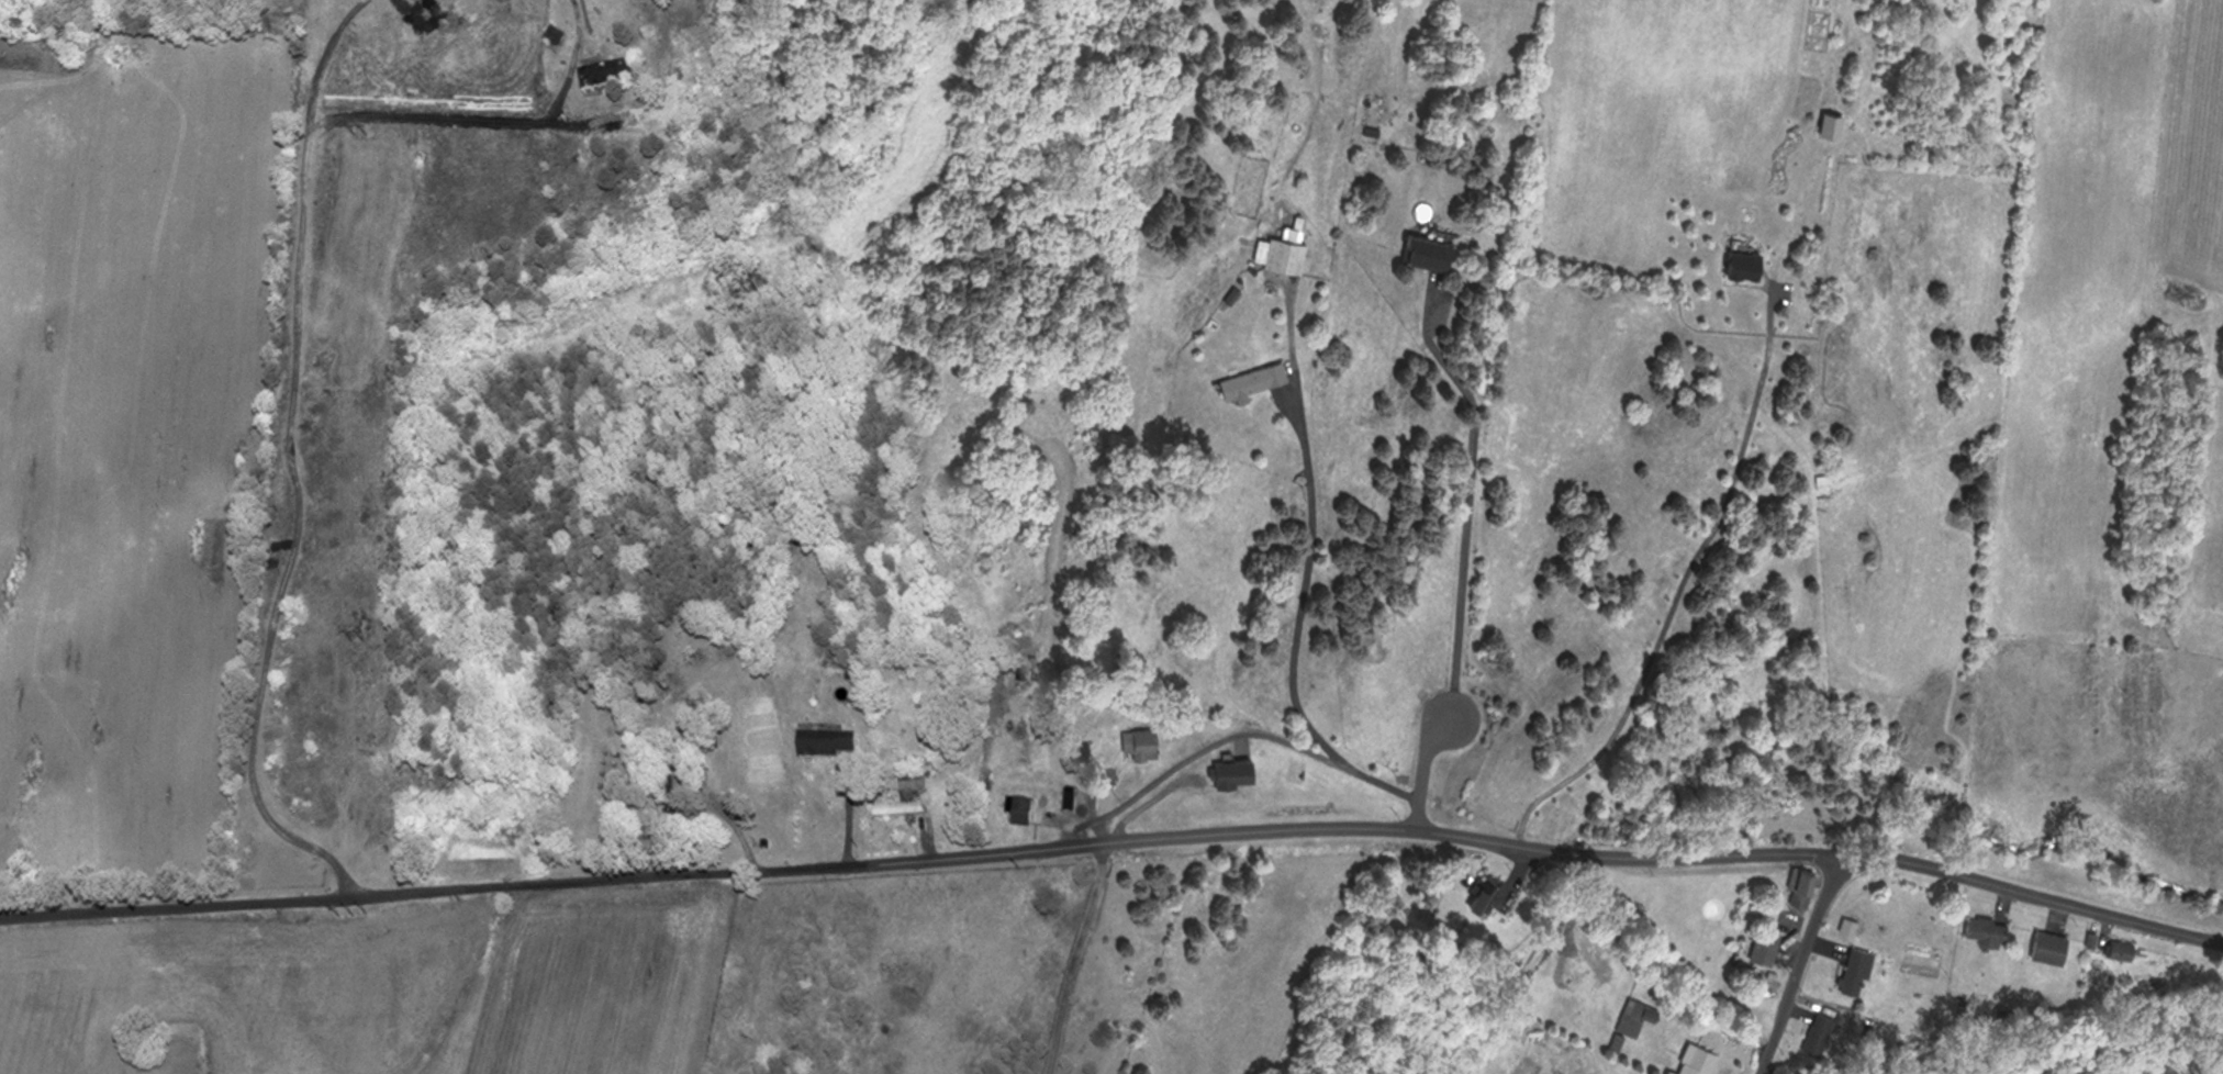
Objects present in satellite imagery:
building: (565, 35)
road: (323, 57)
building: (624, 72)
road: (493, 121)
power tower: (359, 133)
building: (1416, 250)
building: (1288, 254)
building: (1263, 379)
building: (1817, 479)
road: (1472, 490)
road: (299, 536)
road: (1307, 589)
power tower: (357, 641)
building: (1151, 743)
building: (836, 746)
road: (1206, 748)
building: (1224, 772)
road: (1425, 775)
building: (917, 785)
road: (1384, 785)
building: (1073, 806)
building: (1030, 812)
building: (664, 848)
road: (920, 849)
building: (1789, 887)
building: (1473, 894)
road: (2033, 895)
power tower: (353, 914)
building: (1977, 931)
building: (1754, 946)
building: (2040, 947)
building: (2113, 949)
road: (1075, 953)
road: (1799, 964)
building: (1846, 971)
building: (1626, 1015)
building: (1818, 1029)
building: (1688, 1060)
building: (1661, 1072)

